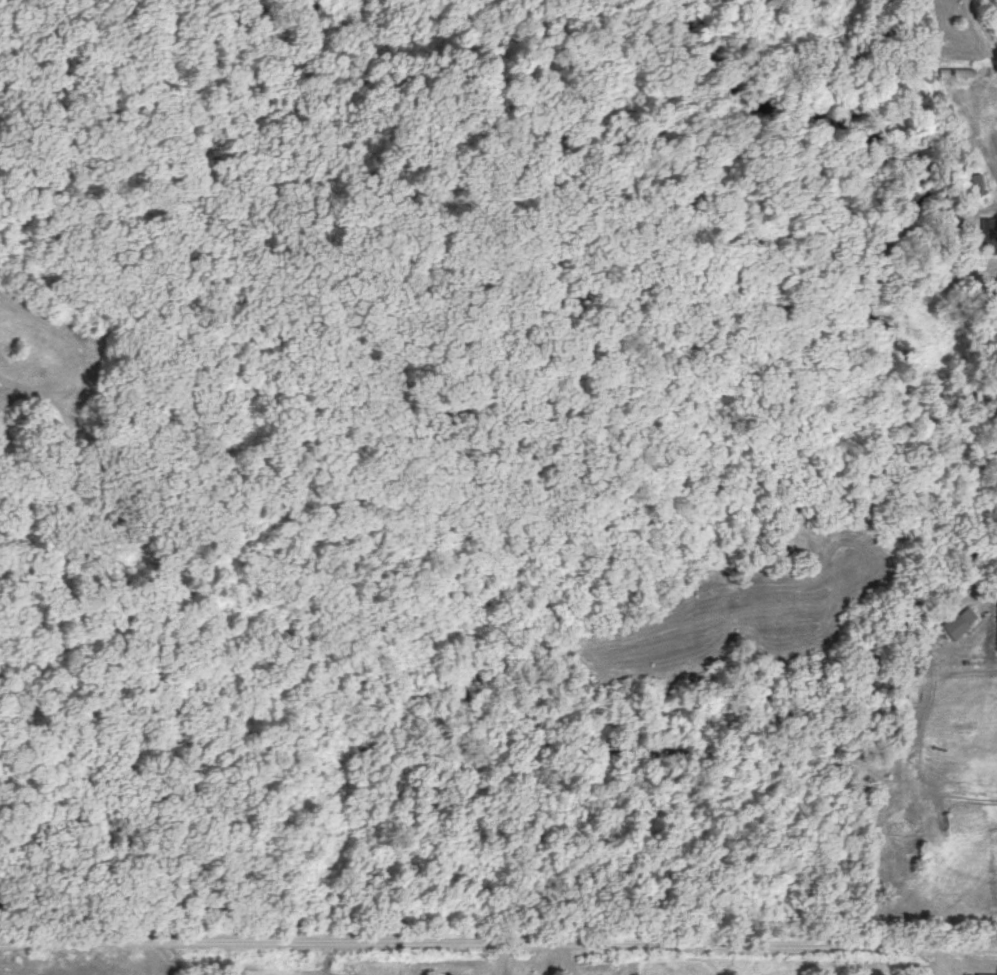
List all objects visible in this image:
building: (953, 72)
building: (987, 235)
building: (957, 621)
building: (995, 624)
road: (498, 949)
building: (985, 974)

